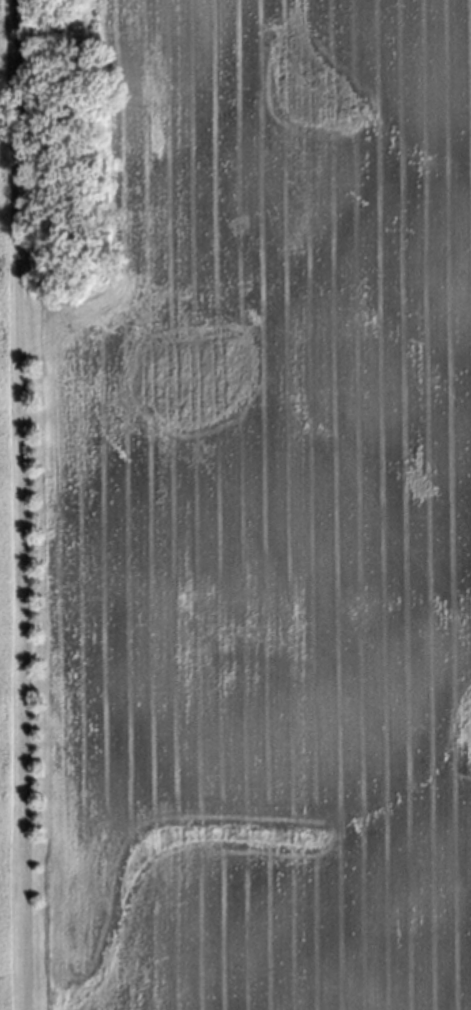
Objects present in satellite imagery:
road: (19, 504)

